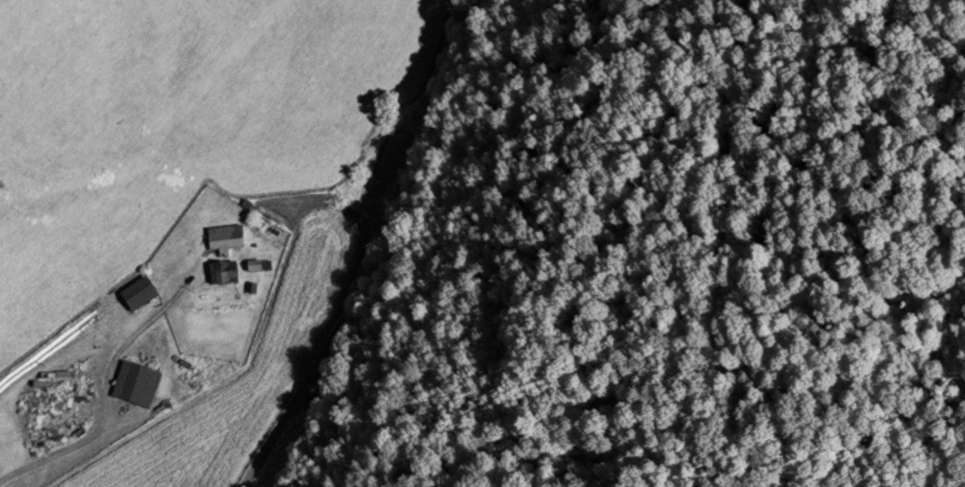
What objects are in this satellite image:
crop: (171, 130)
building: (268, 218)
building: (227, 239)
building: (227, 275)
building: (142, 296)
crop: (244, 372)
building: (137, 386)
building: (34, 423)
road: (56, 455)

